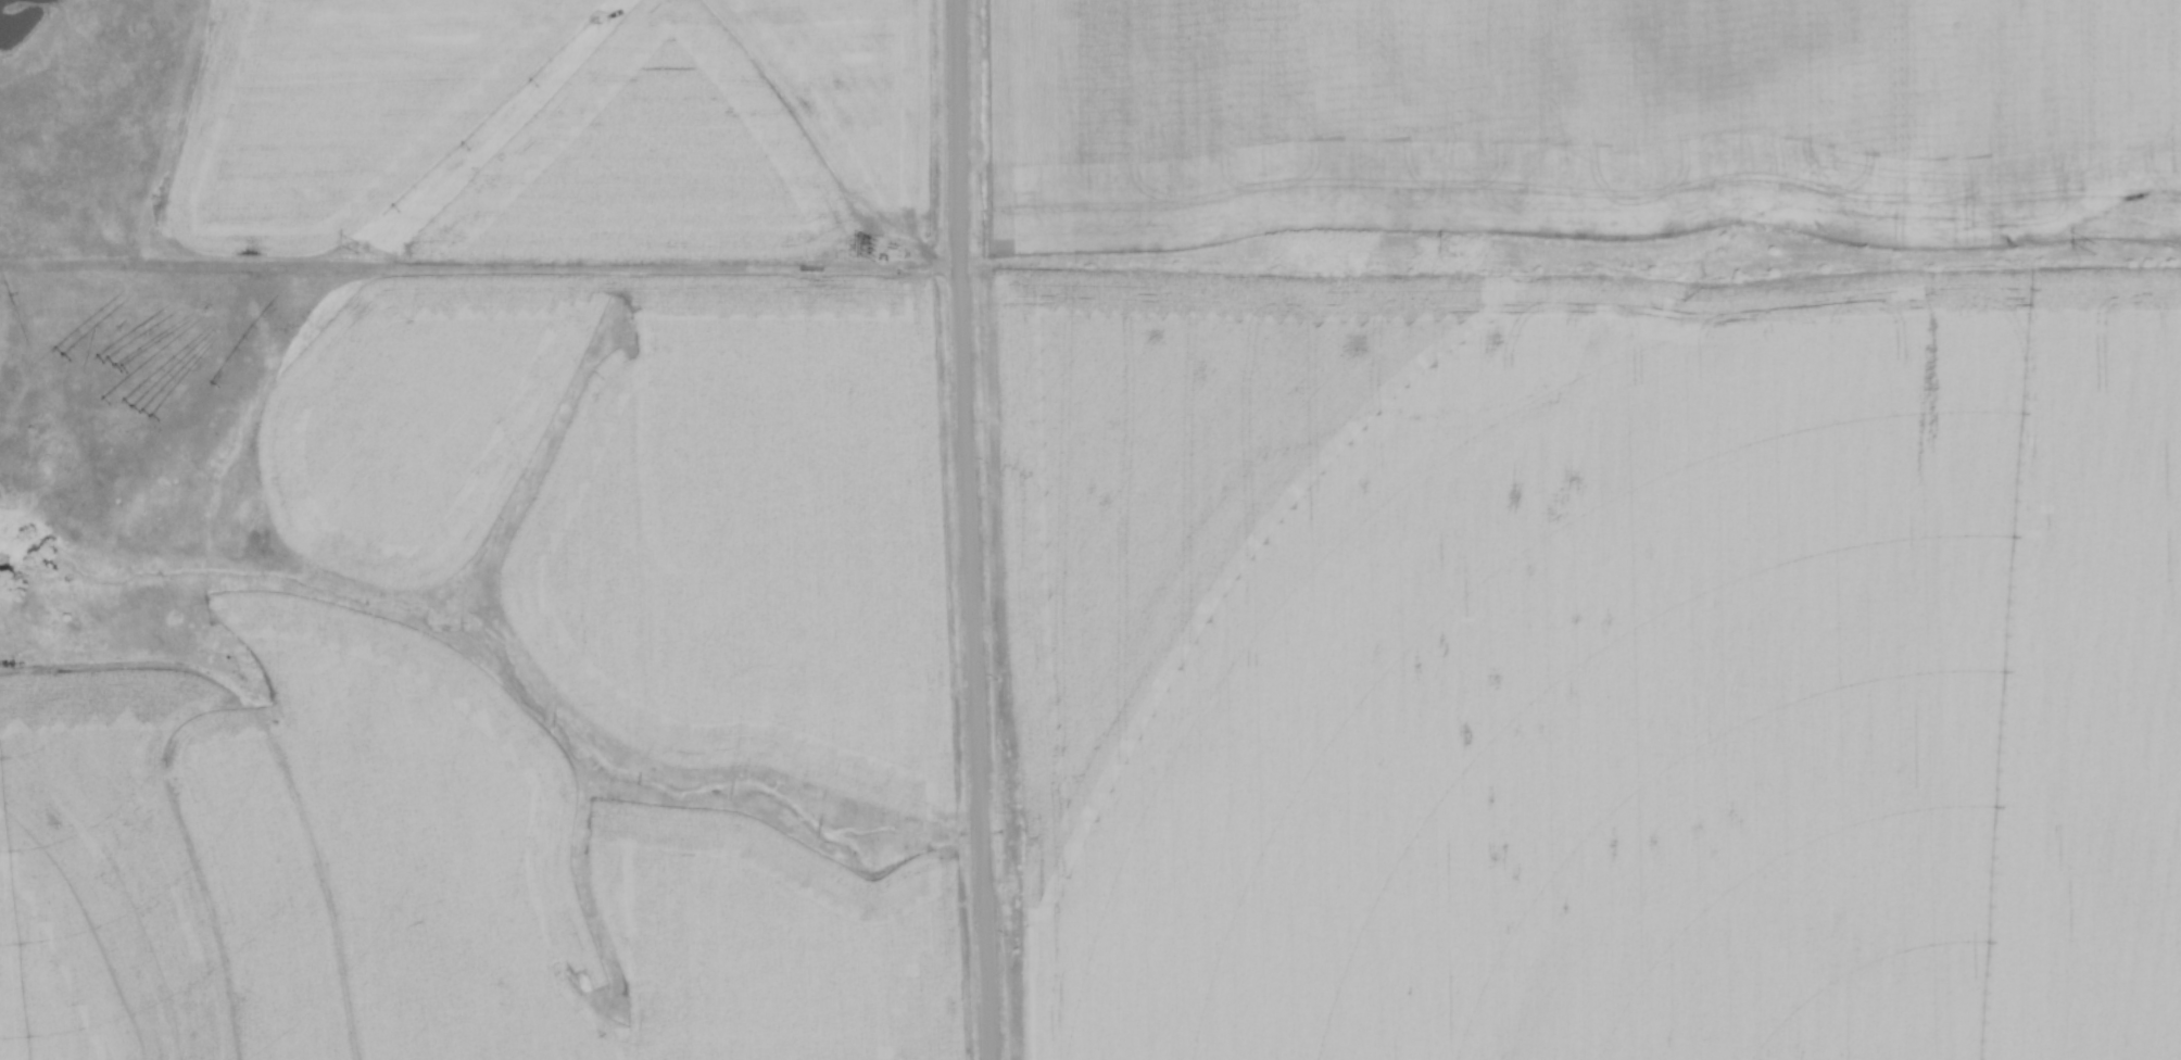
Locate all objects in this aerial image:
power tower: (356, 250)
power tower: (1461, 250)
power tower: (2094, 250)
power tower: (874, 252)
road: (962, 530)

